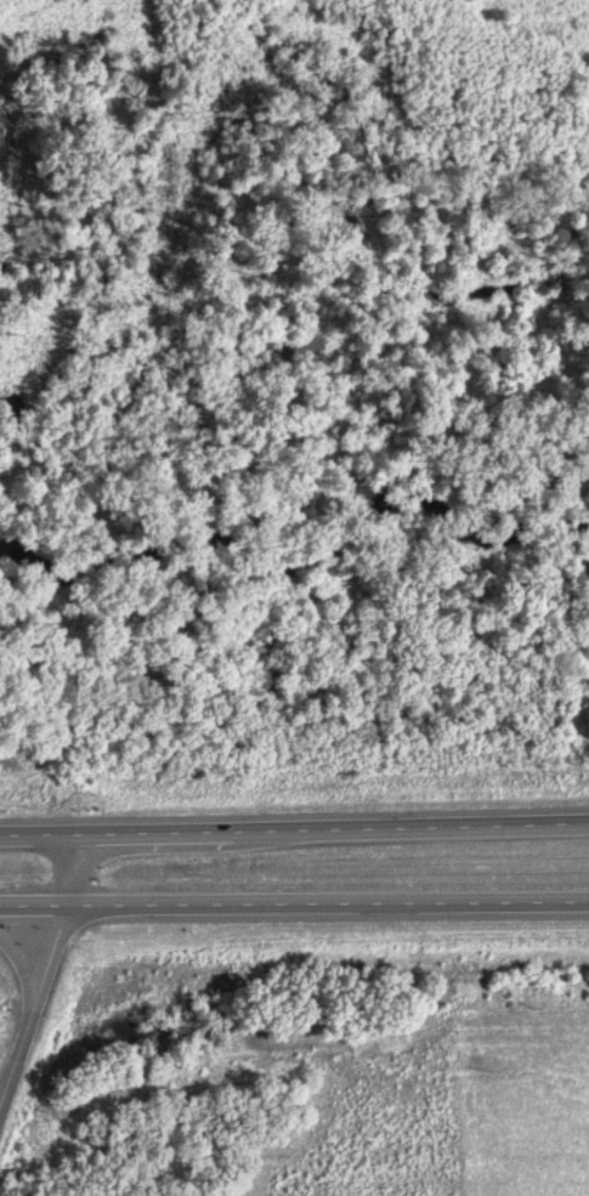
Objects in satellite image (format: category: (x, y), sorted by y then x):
road: (294, 828)
road: (73, 871)
road: (328, 902)
road: (34, 907)
road: (50, 959)
road: (27, 965)
road: (16, 1060)

